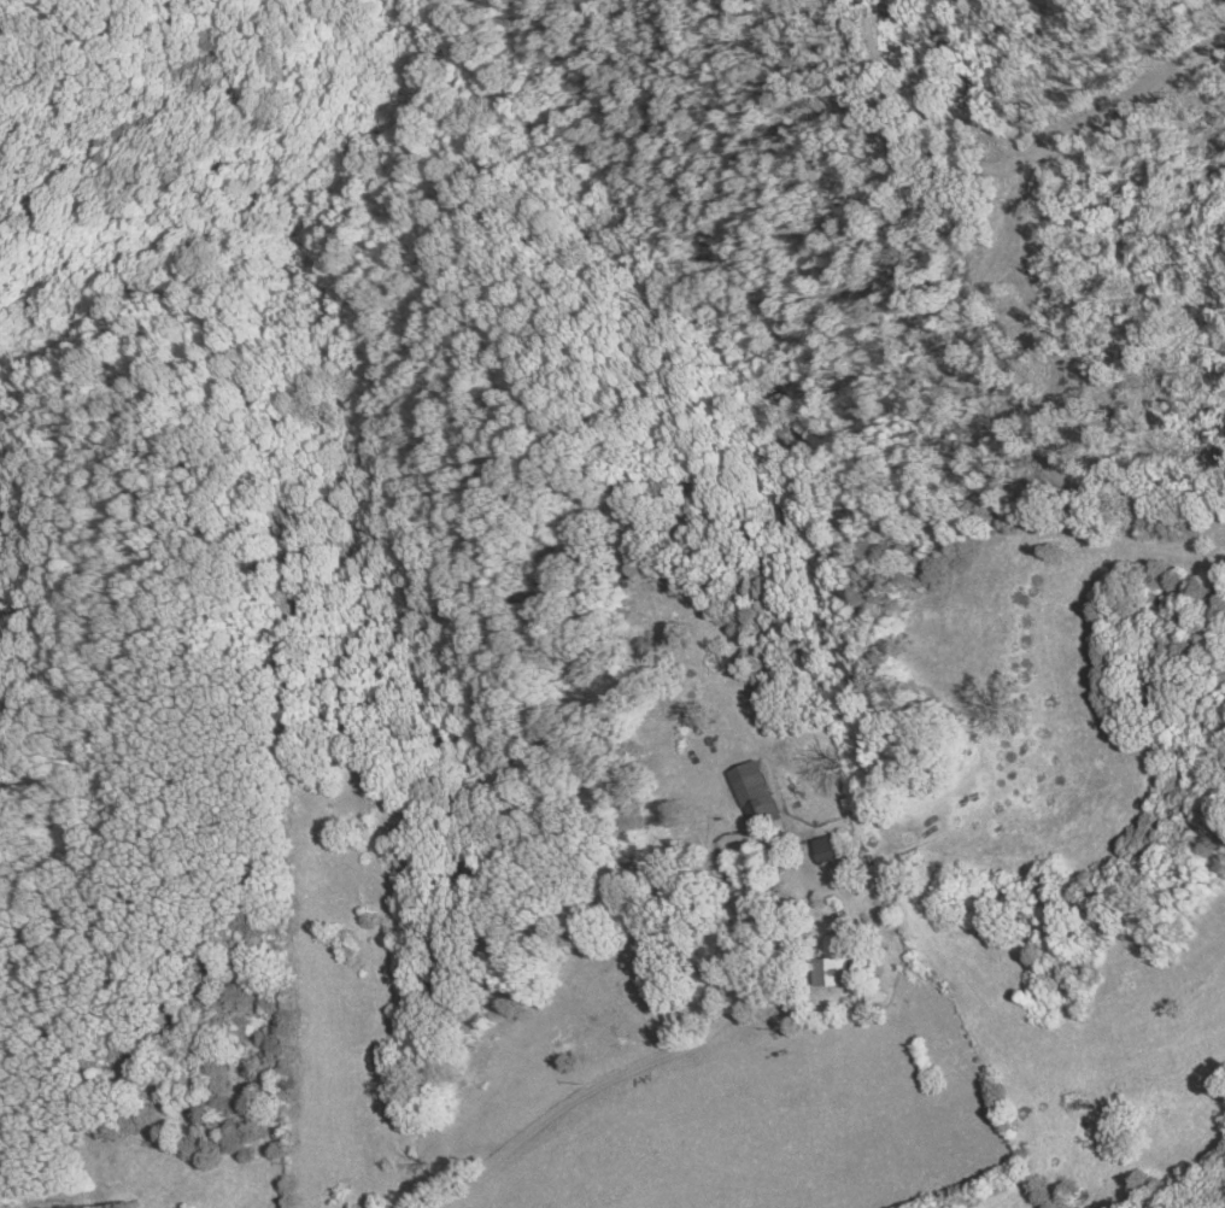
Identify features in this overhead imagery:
building: (755, 792)
building: (830, 848)
building: (834, 966)
road: (658, 1060)

